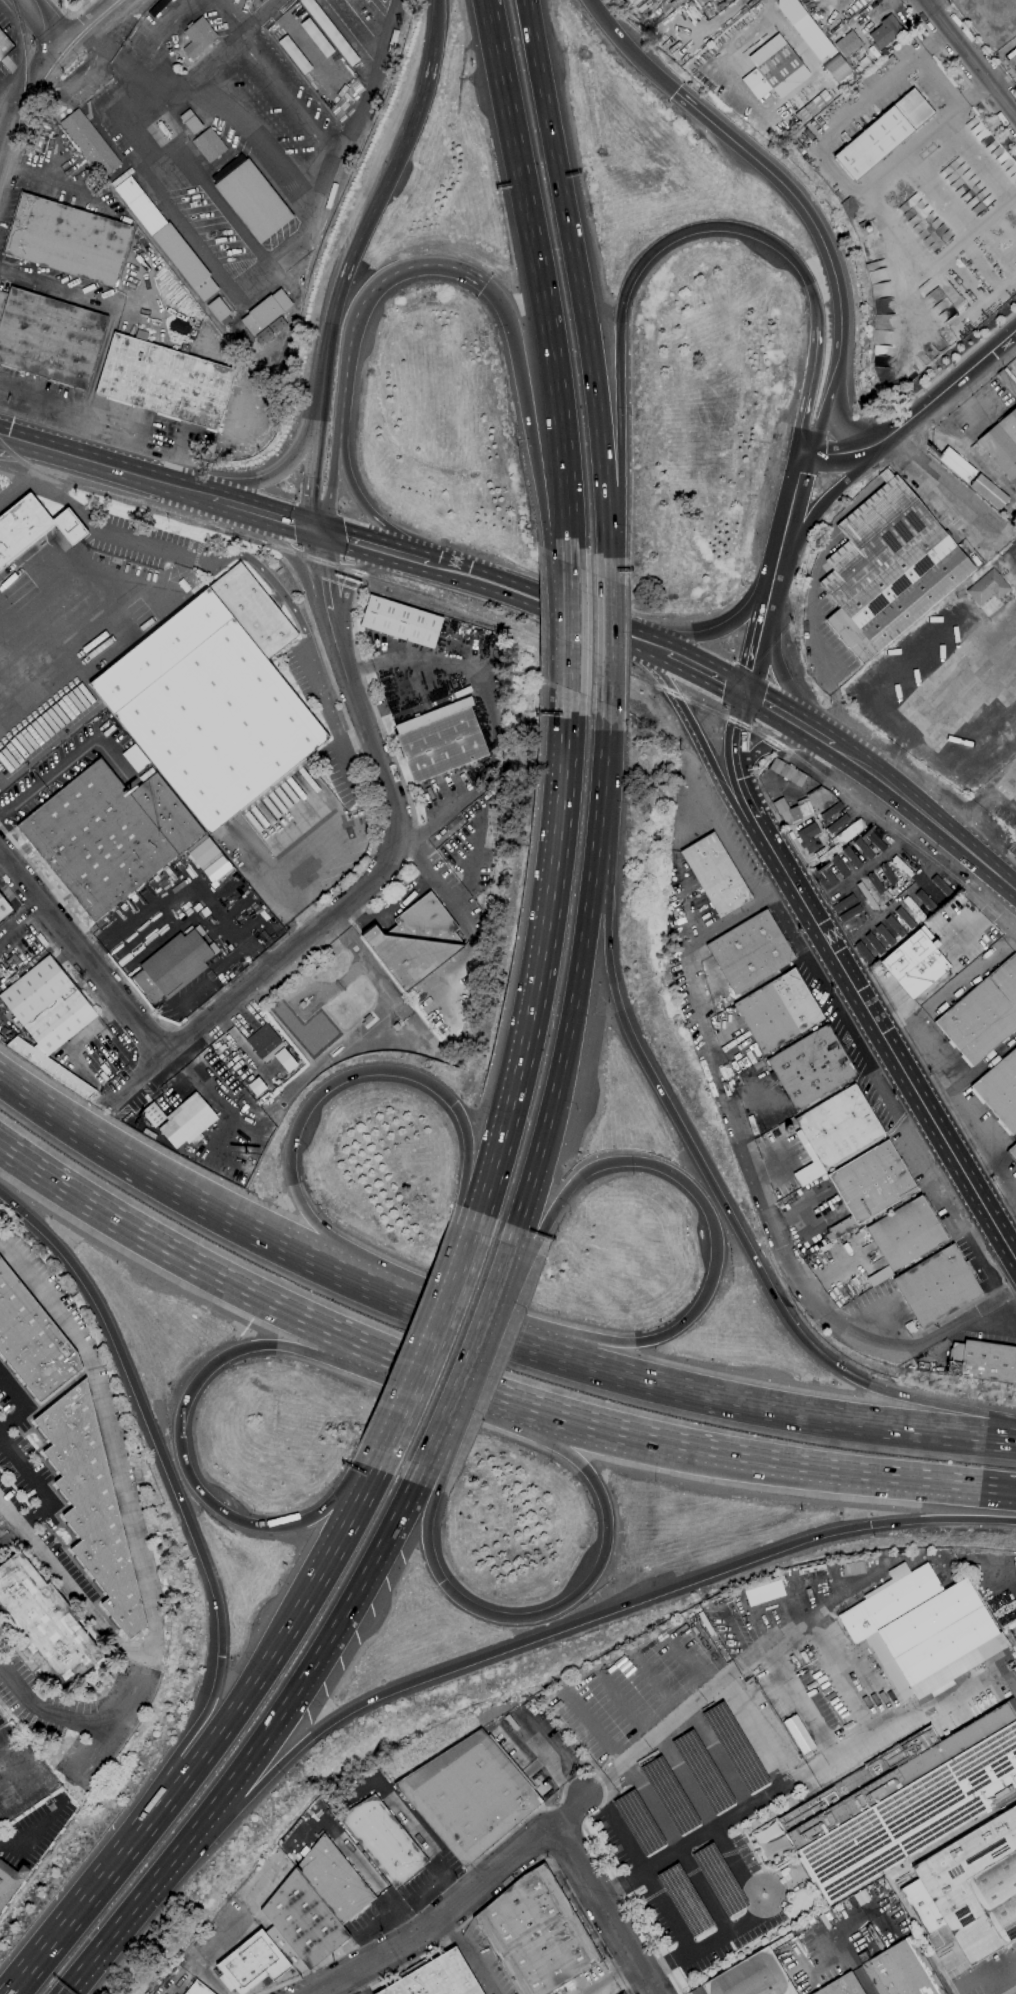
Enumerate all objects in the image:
road: (437, 4)
building: (621, 4)
road: (770, 6)
road: (73, 14)
road: (233, 15)
road: (71, 17)
road: (38, 25)
road: (90, 25)
road: (168, 30)
building: (330, 31)
building: (886, 32)
road: (65, 34)
building: (198, 36)
building: (812, 36)
building: (317, 38)
building: (848, 44)
building: (5, 46)
road: (631, 47)
road: (373, 48)
road: (114, 49)
road: (226, 49)
building: (295, 55)
road: (971, 57)
building: (837, 68)
building: (772, 72)
road: (959, 73)
road: (11, 81)
road: (158, 81)
road: (75, 82)
traffic signals: (678, 90)
railway: (23, 92)
road: (285, 96)
road: (19, 101)
road: (361, 105)
flagpole: (82, 107)
building: (814, 107)
road: (762, 116)
building: (191, 122)
building: (884, 134)
road: (261, 135)
building: (90, 143)
building: (209, 145)
road: (9, 167)
road: (838, 168)
building: (122, 177)
road: (62, 184)
road: (153, 186)
road: (380, 197)
road: (217, 199)
building: (253, 201)
road: (814, 218)
road: (301, 233)
building: (68, 239)
building: (167, 239)
road: (575, 260)
road: (931, 262)
road: (630, 277)
road: (541, 279)
traffic signals: (484, 283)
road: (57, 288)
road: (368, 296)
building: (219, 311)
building: (266, 312)
building: (271, 329)
building: (49, 337)
road: (966, 353)
building: (1008, 379)
road: (93, 380)
building: (165, 380)
road: (809, 385)
road: (953, 386)
road: (42, 398)
road: (232, 406)
road: (528, 421)
road: (853, 429)
road: (819, 432)
building: (1002, 443)
road: (846, 452)
road: (313, 457)
road: (281, 467)
road: (115, 468)
road: (332, 476)
road: (25, 477)
road: (833, 491)
road: (60, 498)
road: (359, 498)
road: (954, 500)
road: (273, 516)
road: (786, 526)
building: (32, 527)
traffic signals: (316, 529)
road: (364, 543)
road: (150, 544)
road: (607, 551)
road: (293, 558)
road: (420, 560)
building: (888, 569)
road: (269, 577)
road: (348, 580)
road: (104, 583)
building: (988, 587)
road: (549, 606)
road: (22, 612)
building: (402, 622)
road: (571, 625)
road: (707, 628)
railway: (534, 637)
road: (607, 641)
road: (758, 641)
road: (436, 660)
road: (707, 673)
road: (786, 673)
traffic signals: (746, 692)
road: (944, 695)
building: (215, 700)
road: (330, 715)
road: (789, 718)
road: (699, 737)
road: (354, 739)
building: (441, 740)
road: (778, 744)
road: (358, 752)
building: (134, 757)
road: (69, 760)
road: (737, 766)
road: (400, 771)
building: (787, 772)
road: (601, 777)
building: (805, 805)
building: (831, 811)
road: (926, 815)
road: (439, 817)
building: (838, 824)
building: (850, 831)
building: (109, 835)
building: (809, 838)
building: (875, 841)
road: (731, 848)
building: (864, 848)
building: (852, 857)
road: (1012, 858)
building: (210, 860)
road: (256, 860)
road: (469, 862)
road: (1, 865)
building: (839, 866)
building: (902, 866)
road: (384, 867)
road: (593, 867)
building: (888, 873)
road: (296, 874)
building: (716, 875)
building: (827, 875)
road: (920, 878)
road: (188, 885)
building: (941, 885)
road: (52, 890)
building: (926, 900)
road: (997, 900)
building: (843, 903)
building: (4, 908)
road: (387, 909)
road: (460, 913)
building: (849, 913)
building: (905, 917)
road: (18, 922)
road: (726, 922)
building: (895, 926)
building: (885, 934)
building: (416, 941)
building: (874, 943)
road: (816, 950)
road: (240, 951)
building: (750, 952)
building: (864, 952)
road: (544, 954)
road: (362, 955)
road: (953, 959)
road: (80, 960)
building: (916, 963)
building: (173, 966)
flagpole: (884, 974)
road: (194, 989)
road: (881, 996)
building: (778, 1010)
road: (838, 1013)
building: (983, 1014)
road: (897, 1016)
building: (49, 1017)
road: (569, 1026)
road: (90, 1029)
building: (266, 1042)
road: (239, 1046)
road: (889, 1049)
building: (285, 1060)
road: (882, 1062)
building: (812, 1067)
road: (369, 1070)
road: (214, 1082)
building: (256, 1086)
building: (1000, 1090)
road: (887, 1097)
traffic signals: (458, 1107)
building: (182, 1120)
road: (915, 1120)
road: (977, 1127)
building: (834, 1131)
road: (960, 1133)
building: (1013, 1150)
road: (982, 1156)
road: (132, 1168)
road: (979, 1168)
building: (870, 1185)
road: (727, 1204)
road: (523, 1206)
road: (1003, 1211)
road: (711, 1217)
road: (476, 1222)
building: (905, 1233)
road: (774, 1234)
road: (1, 1243)
road: (330, 1252)
road: (181, 1256)
road: (307, 1260)
road: (461, 1264)
road: (993, 1265)
building: (878, 1275)
building: (937, 1286)
road: (443, 1317)
building: (32, 1339)
road: (474, 1344)
traffic signals: (220, 1360)
building: (983, 1361)
road: (417, 1375)
road: (449, 1376)
road: (22, 1404)
road: (779, 1413)
road: (1002, 1424)
road: (180, 1432)
road: (428, 1454)
road: (767, 1461)
road: (373, 1472)
parking lot: (29, 1479)
road: (38, 1485)
road: (176, 1489)
road: (425, 1491)
building: (92, 1504)
traffic signals: (872, 1526)
road: (342, 1536)
road: (138, 1545)
road: (578, 1592)
building: (764, 1592)
road: (595, 1618)
building: (43, 1624)
building: (925, 1631)
road: (324, 1643)
road: (742, 1668)
road: (242, 1700)
road: (803, 1705)
road: (77, 1718)
road: (760, 1731)
building: (799, 1735)
road: (547, 1757)
building: (470, 1795)
road: (772, 1796)
building: (903, 1801)
road: (520, 1824)
building: (384, 1840)
road: (519, 1876)
building: (10, 1881)
building: (335, 1881)
building: (969, 1890)
road: (615, 1891)
road: (706, 1893)
road: (136, 1902)
road: (629, 1902)
road: (457, 1904)
road: (83, 1905)
road: (610, 1911)
building: (302, 1924)
building: (536, 1934)
road: (729, 1936)
road: (469, 1955)
road: (338, 1956)
road: (668, 1960)
building: (252, 1963)
building: (903, 1971)
road: (608, 1975)
building: (436, 1977)
building: (751, 1977)
road: (356, 1982)
road: (865, 1984)
building: (842, 1986)
building: (199, 1989)
road: (1010, 1990)

